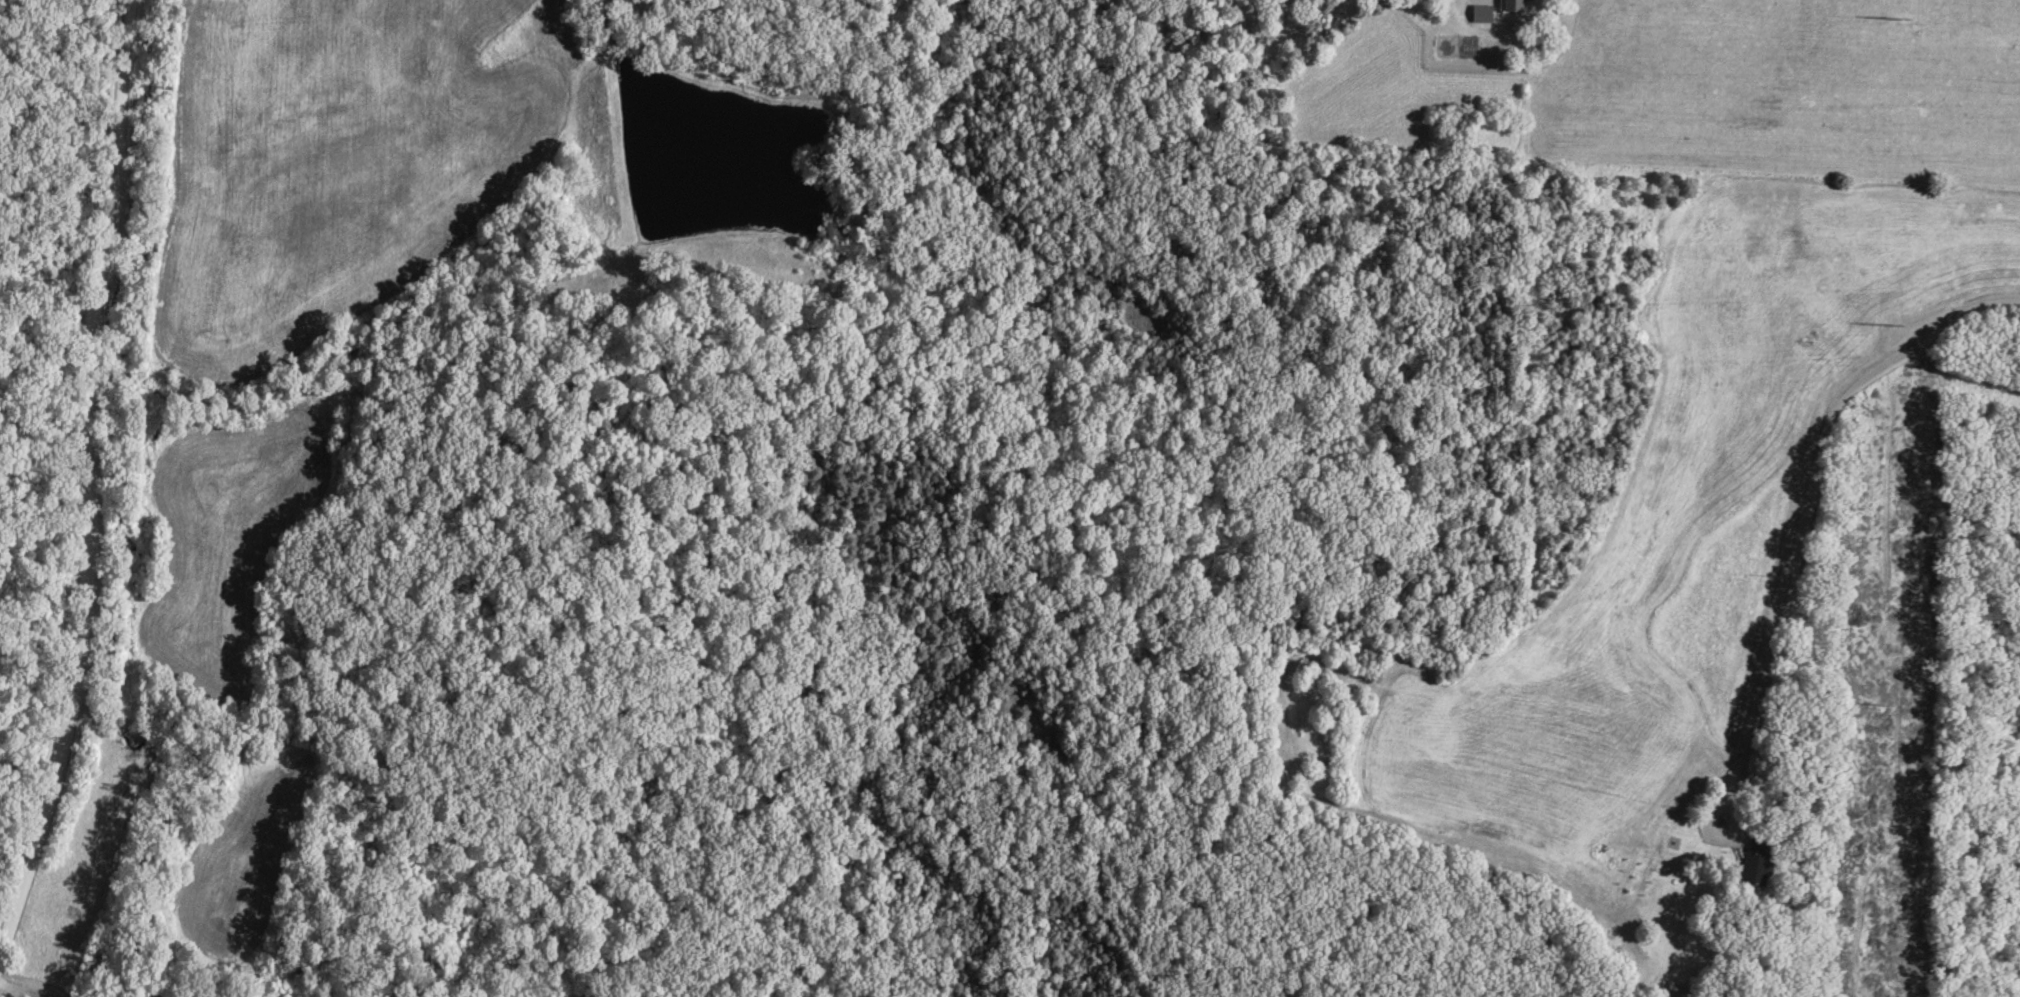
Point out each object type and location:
road: (1461, 1)
building: (1512, 6)
power tower: (1894, 16)
power tower: (1890, 330)
road: (99, 487)
road: (1804, 513)
power tower: (1879, 708)
building: (1756, 862)

